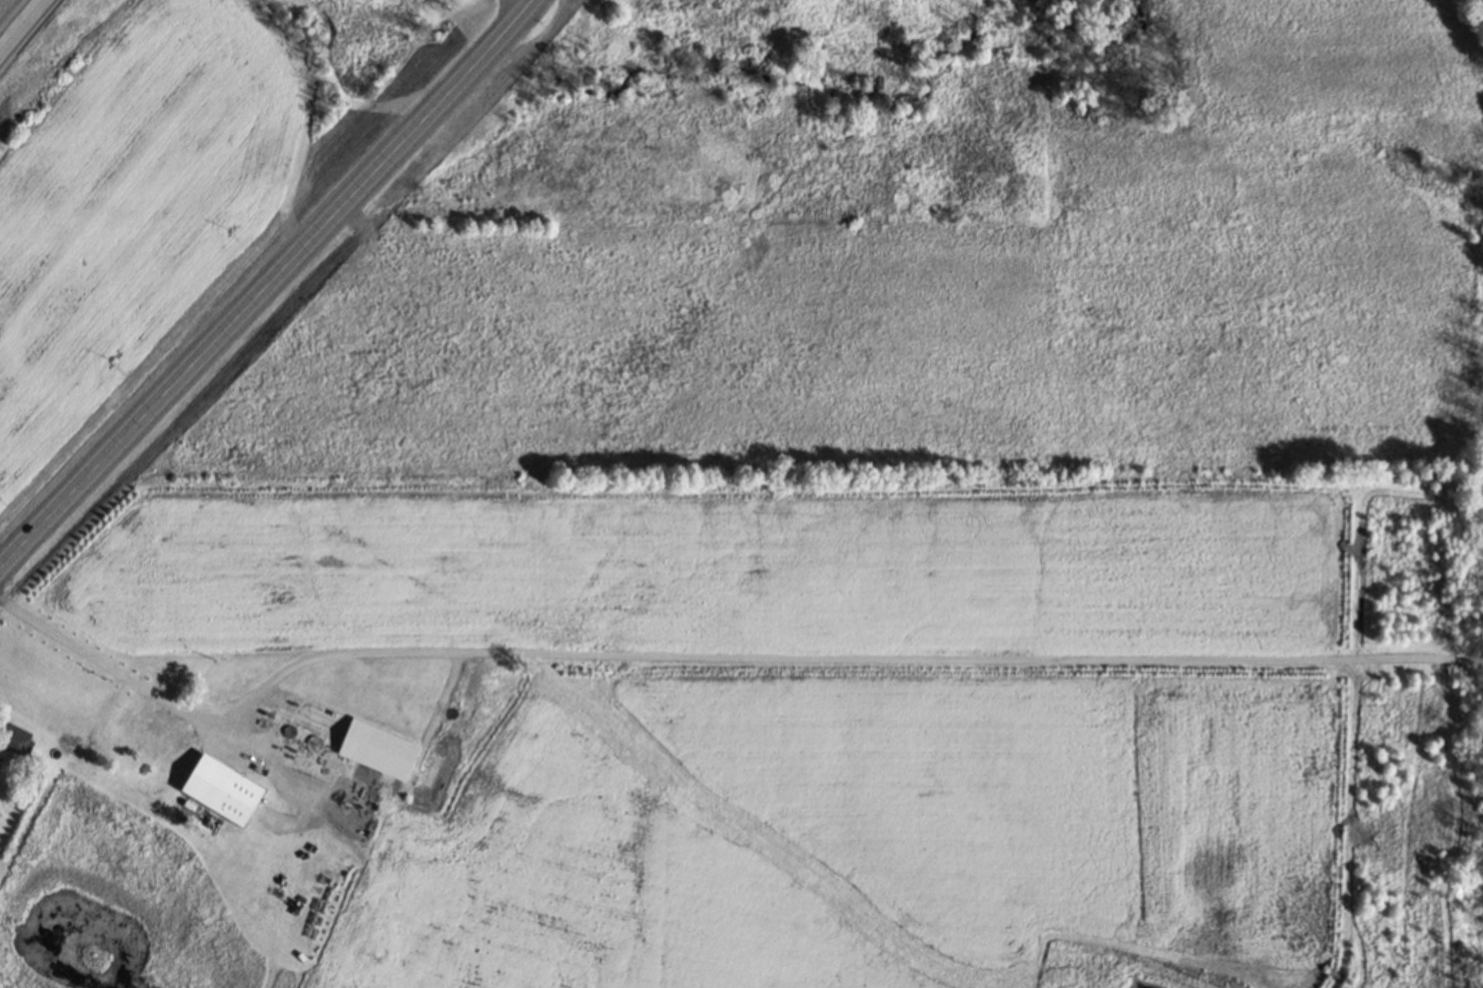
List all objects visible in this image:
road: (515, 8)
road: (29, 37)
road: (266, 291)
road: (718, 661)
building: (369, 702)
building: (348, 737)
building: (223, 790)

